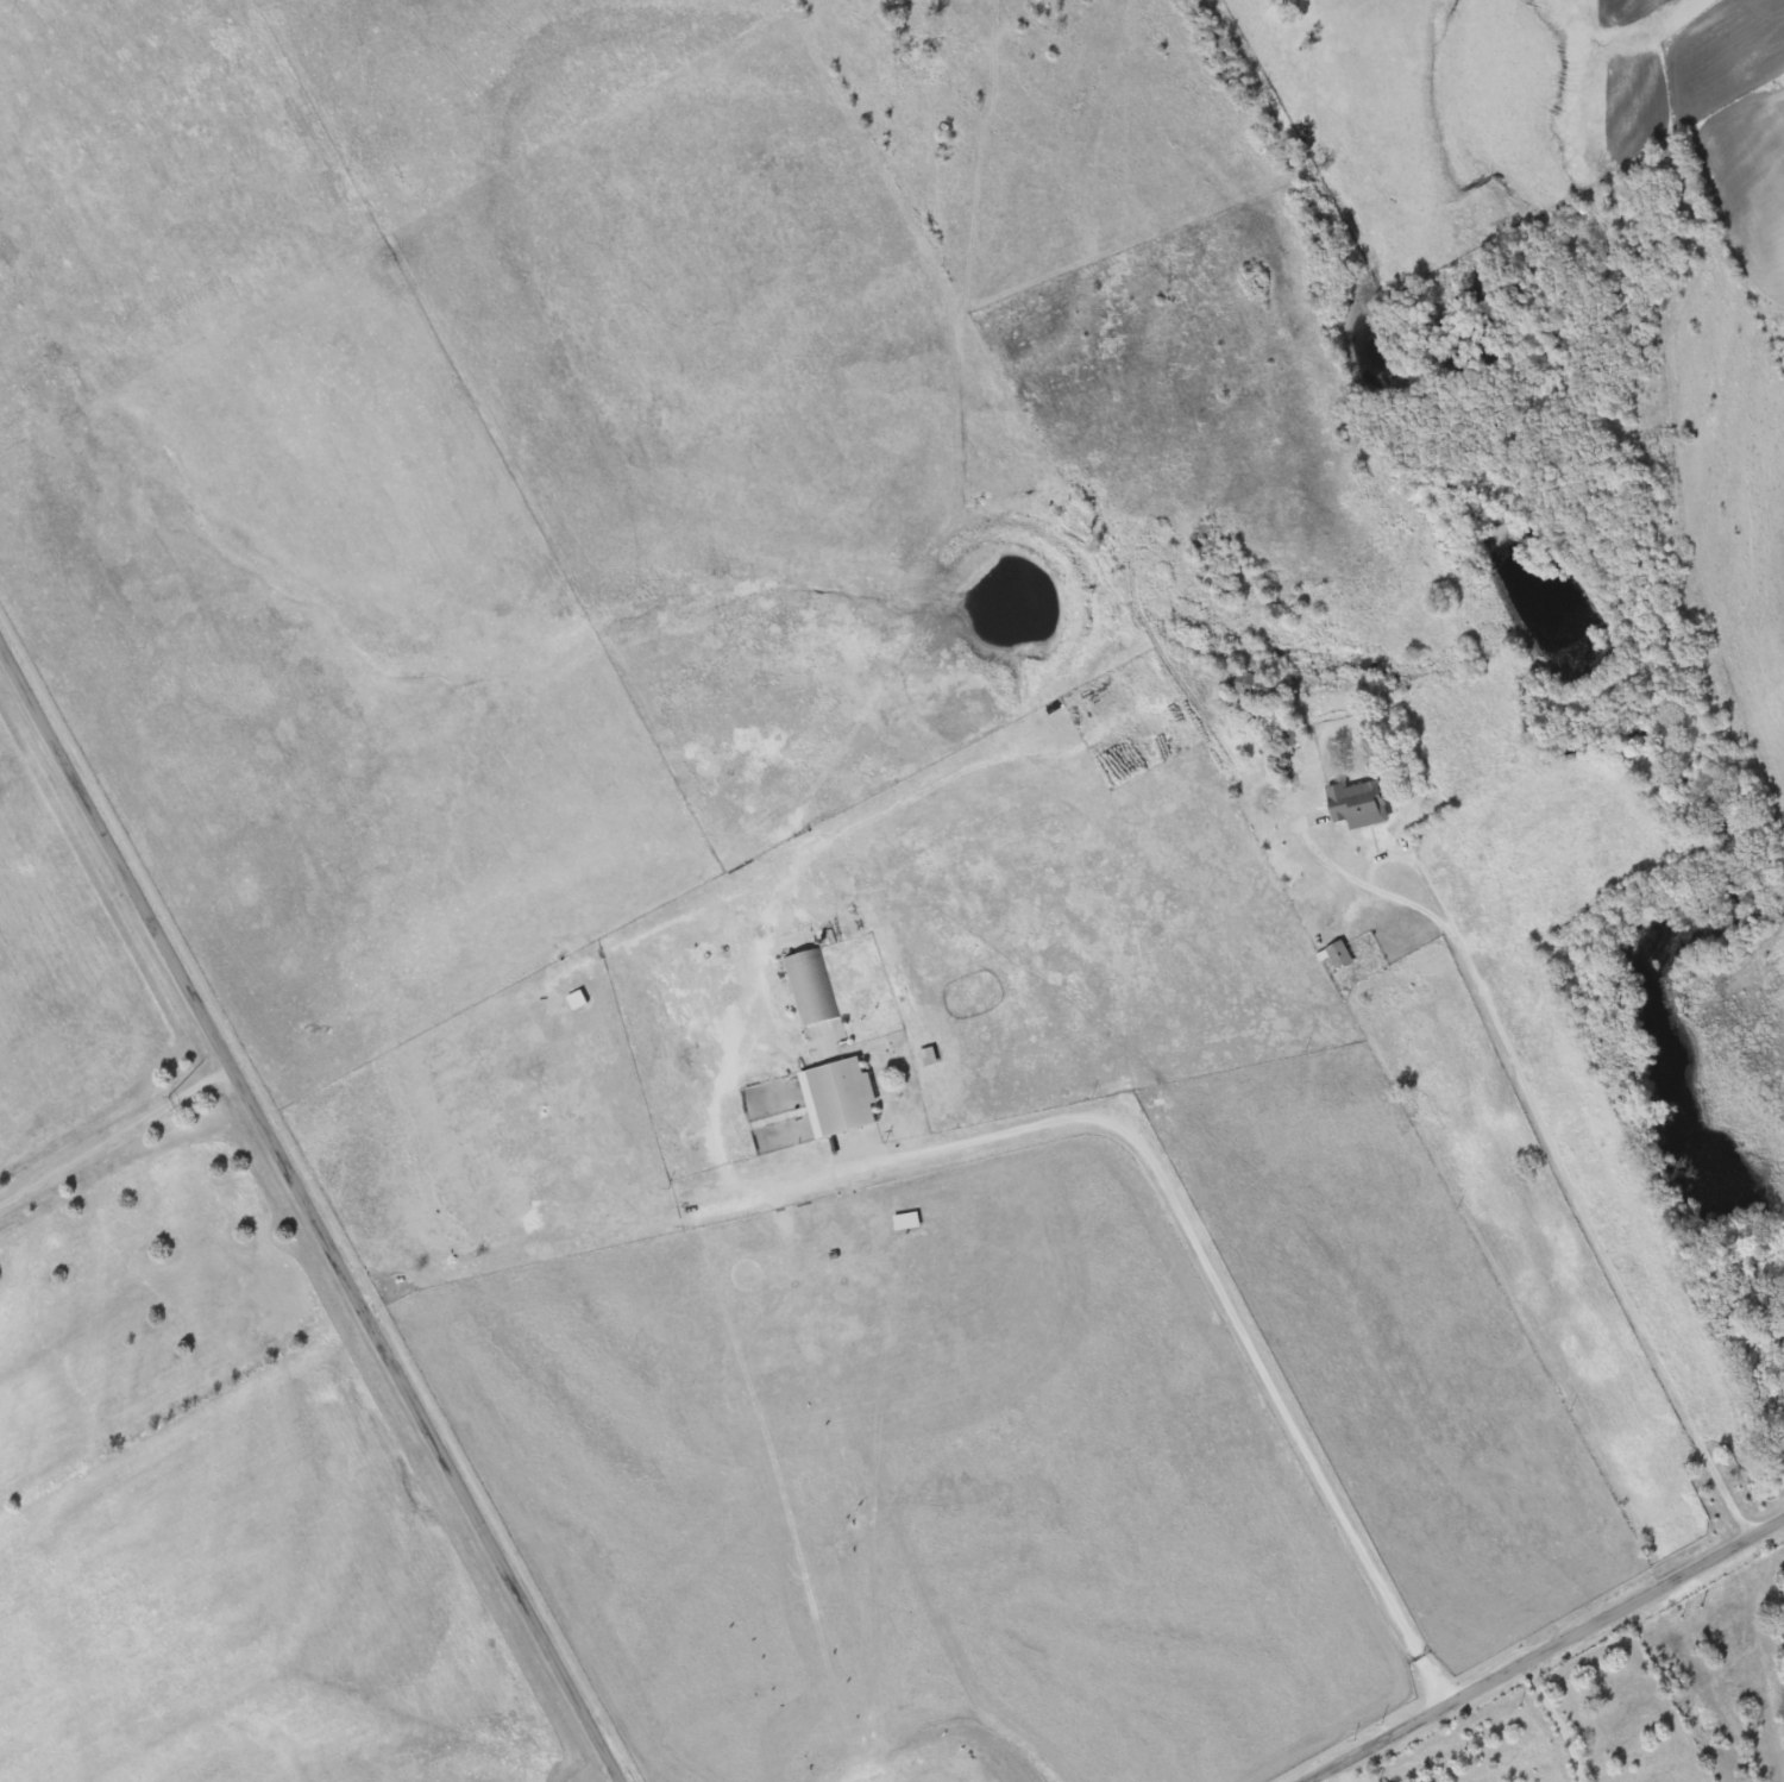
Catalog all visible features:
building: (1251, 685)
building: (1345, 716)
building: (1361, 804)
building: (1342, 955)
building: (811, 987)
building: (844, 1096)
road: (117, 1140)
road: (310, 1209)
road: (1550, 1652)

